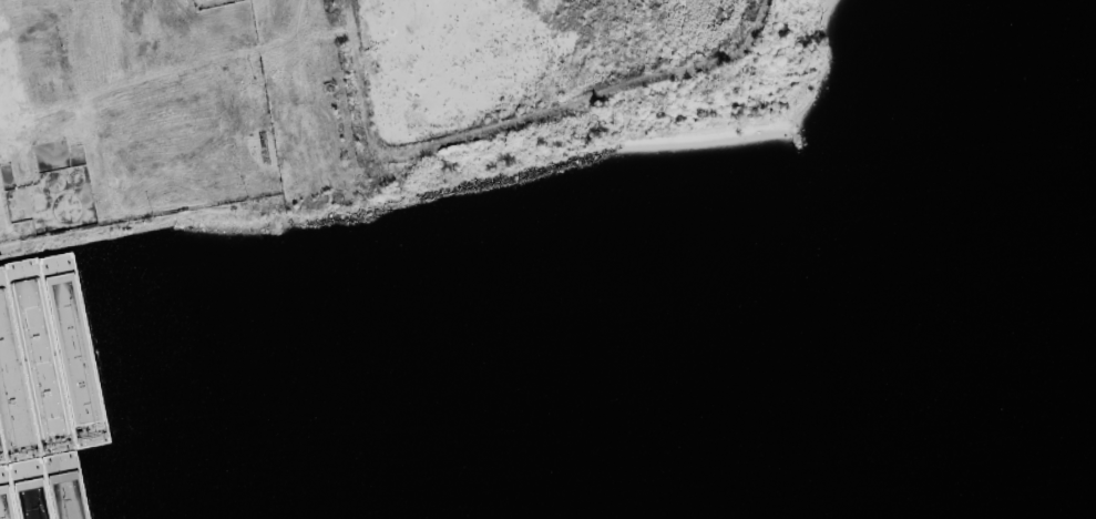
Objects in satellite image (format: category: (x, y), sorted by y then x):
road: (69, 242)
road: (2, 243)

